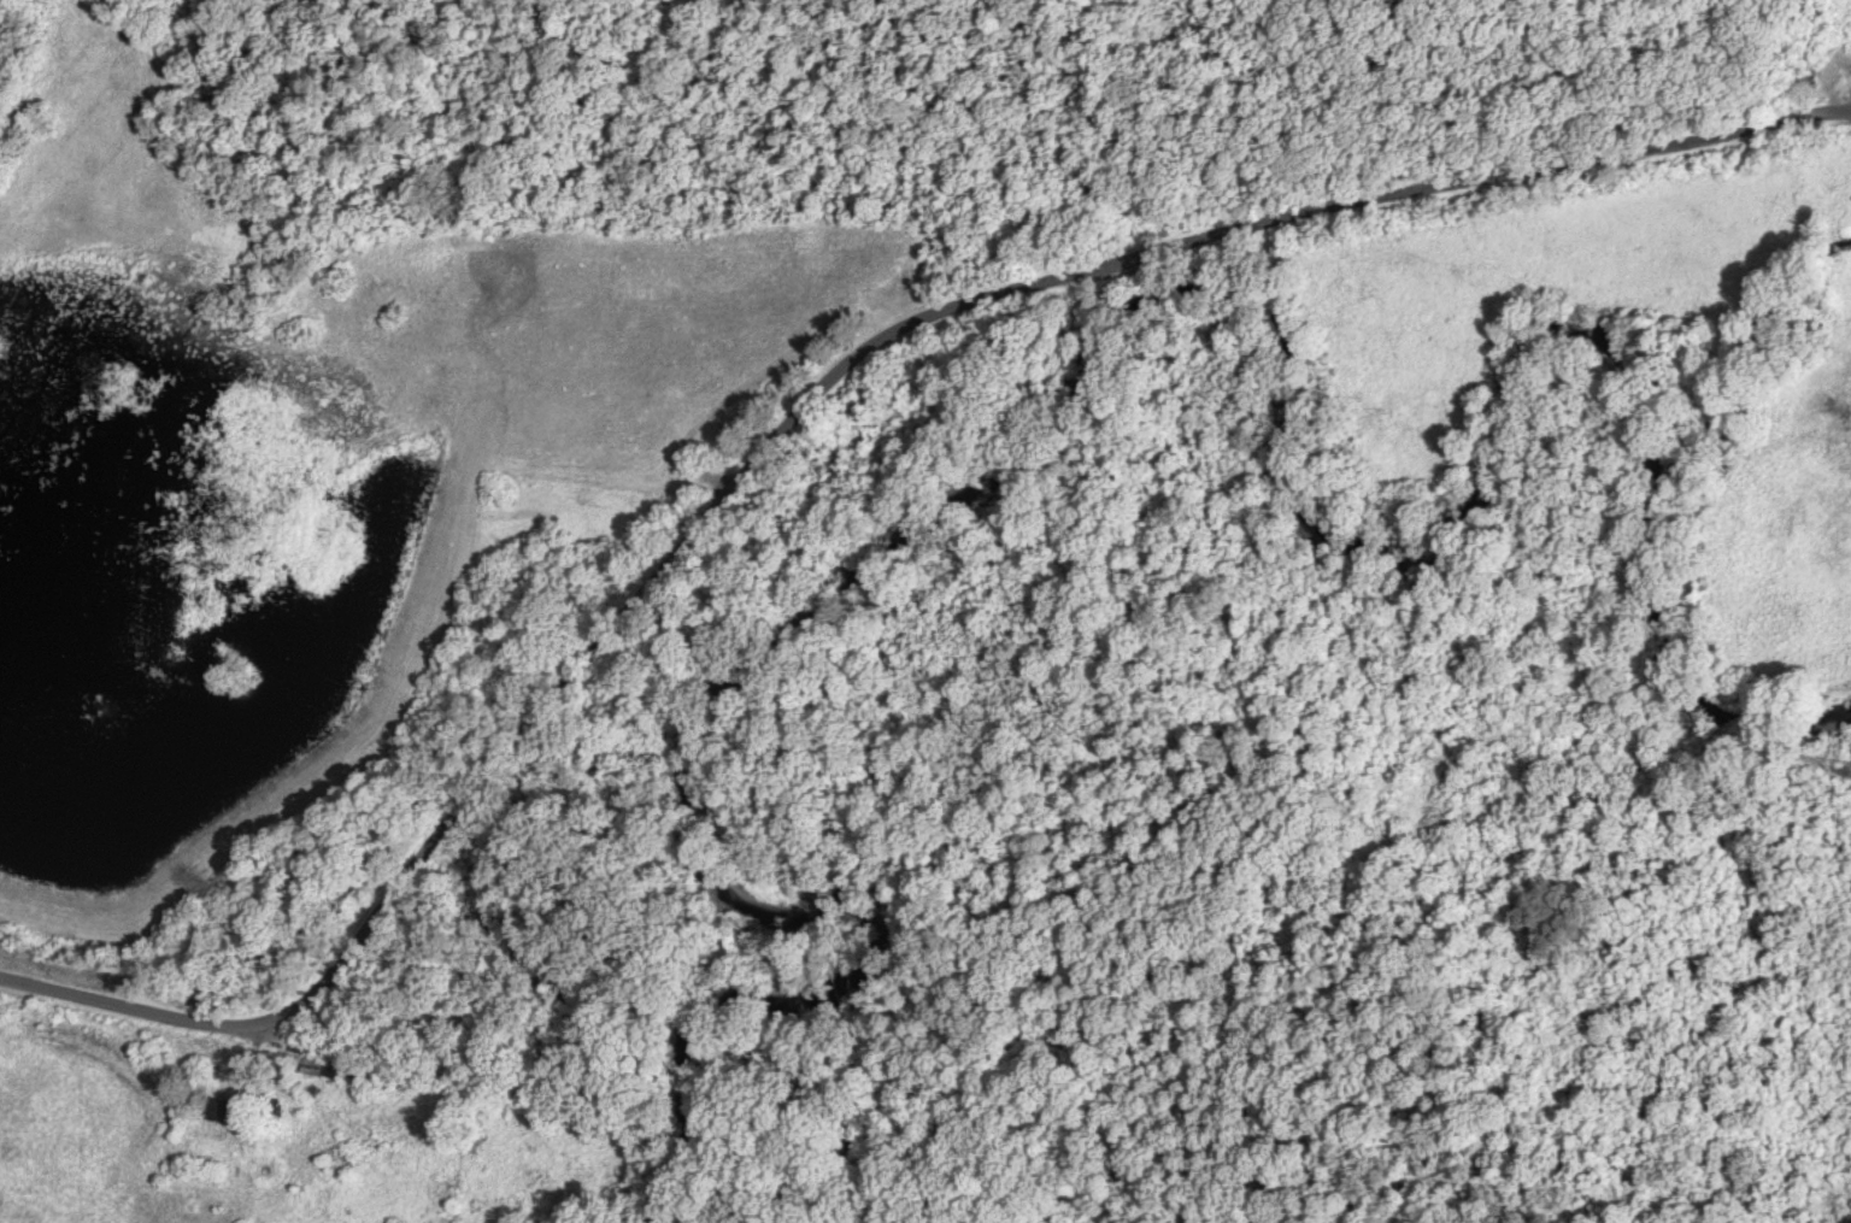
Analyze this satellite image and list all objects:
road: (822, 423)
river: (1019, 455)
building: (323, 1066)
building: (229, 1112)

